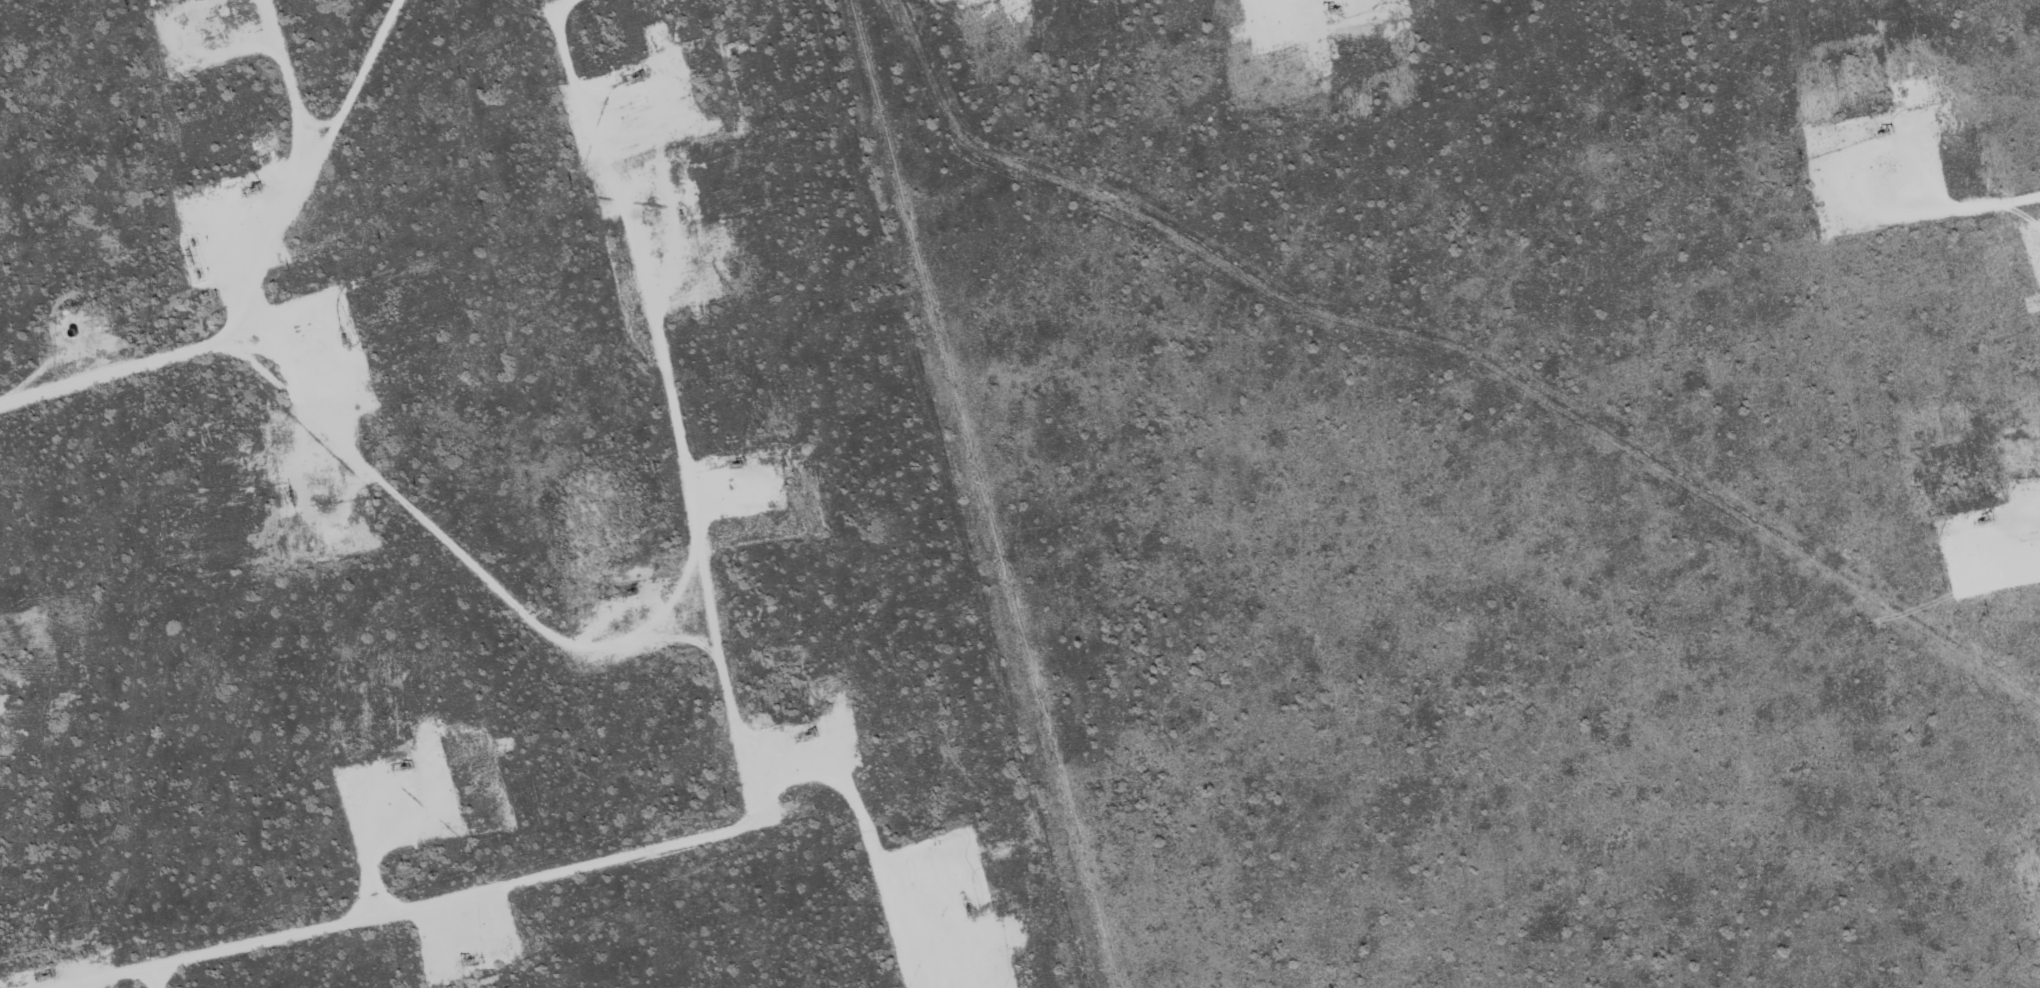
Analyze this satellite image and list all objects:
petroleum well: (632, 73)
petroleum well: (1882, 134)
petroleum well: (249, 188)
road: (263, 270)
petroleum well: (730, 461)
petroleum well: (1980, 521)
petroleum well: (633, 591)
petroleum well: (811, 737)
petroleum well: (401, 767)
petroleum well: (464, 958)
petroleum well: (42, 973)

